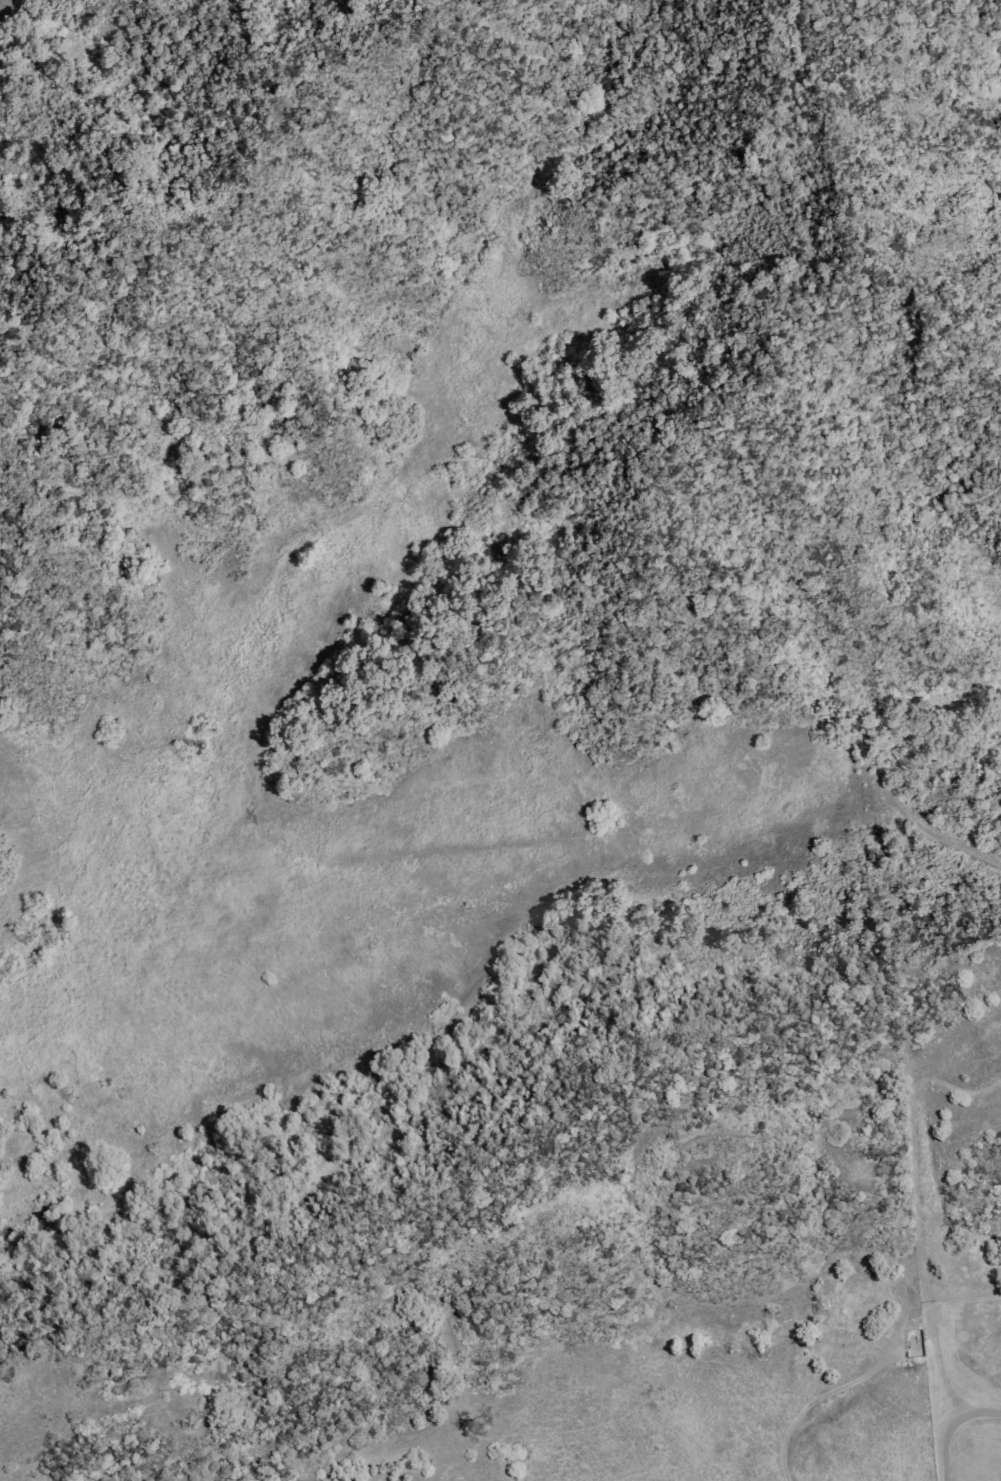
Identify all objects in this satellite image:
building: (912, 1343)
road: (815, 1398)
road: (949, 1425)

